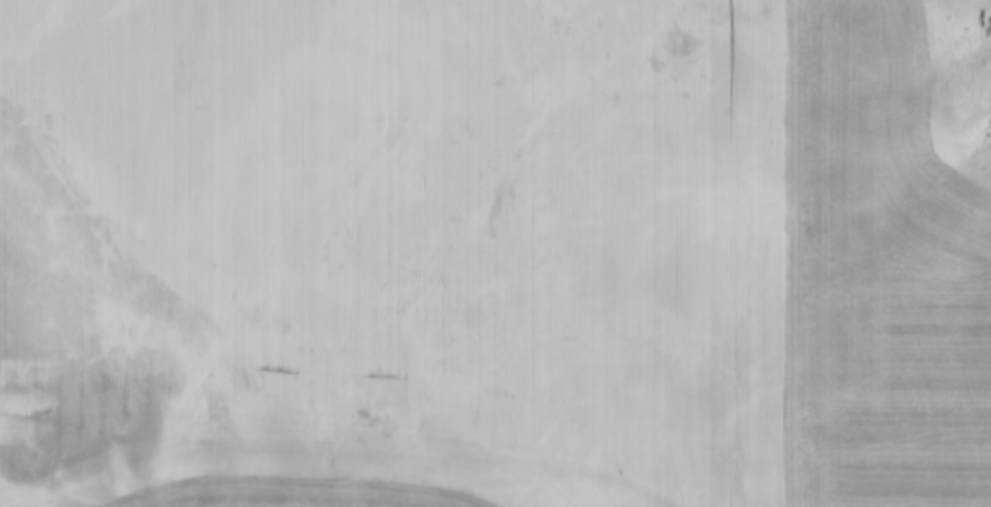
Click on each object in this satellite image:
road: (787, 253)

